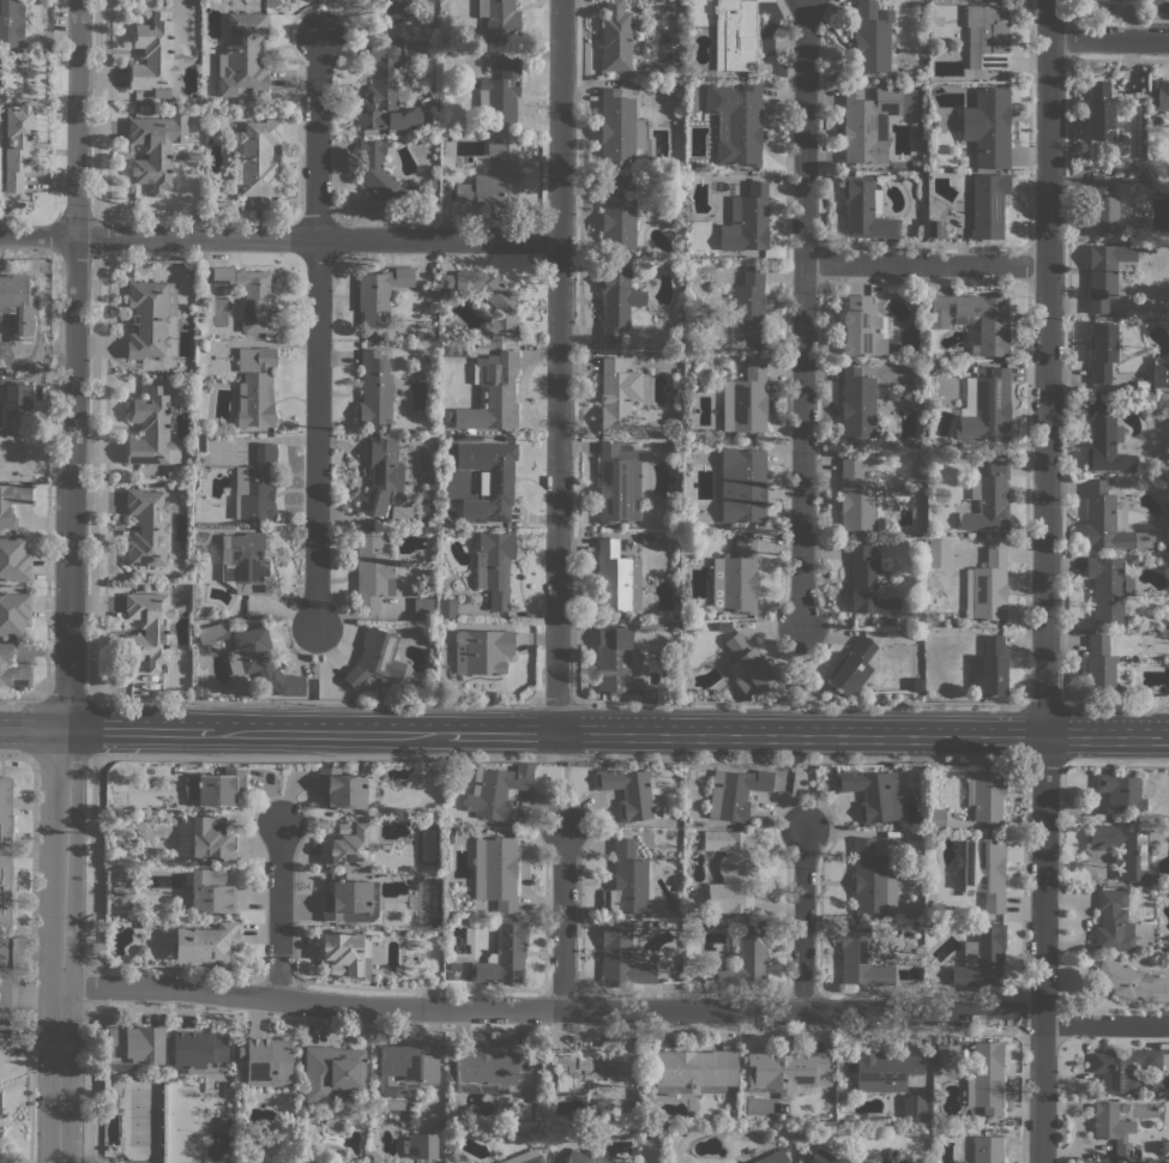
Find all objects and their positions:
building: (1131, 0)
building: (397, 8)
building: (499, 19)
building: (11, 22)
building: (615, 36)
building: (735, 36)
building: (987, 36)
road: (1109, 38)
building: (879, 42)
building: (242, 55)
building: (153, 56)
building: (25, 60)
building: (385, 91)
building: (500, 94)
building: (1161, 95)
road: (95, 107)
road: (106, 109)
building: (1098, 113)
building: (736, 122)
building: (868, 123)
building: (988, 126)
building: (619, 127)
road: (803, 131)
road: (315, 135)
building: (17, 145)
building: (156, 149)
building: (259, 157)
building: (432, 170)
building: (385, 175)
building: (493, 177)
building: (628, 183)
building: (987, 205)
building: (1102, 206)
building: (866, 210)
building: (617, 216)
building: (746, 219)
building: (1140, 228)
road: (279, 235)
road: (95, 236)
road: (924, 263)
building: (699, 270)
building: (1105, 272)
building: (14, 289)
building: (247, 294)
building: (380, 294)
building: (492, 299)
building: (616, 300)
building: (748, 308)
building: (152, 319)
building: (992, 320)
building: (864, 327)
building: (370, 342)
building: (496, 344)
building: (1101, 350)
building: (1159, 358)
road: (559, 368)
road: (1046, 368)
building: (1161, 375)
building: (255, 386)
building: (375, 390)
building: (492, 393)
building: (617, 394)
building: (18, 397)
building: (746, 399)
building: (857, 404)
building: (984, 406)
building: (150, 429)
road: (315, 430)
building: (508, 438)
building: (1104, 440)
road: (801, 444)
building: (670, 447)
building: (381, 476)
road: (92, 477)
road: (104, 478)
building: (492, 482)
building: (619, 483)
building: (255, 484)
building: (742, 484)
building: (858, 499)
building: (988, 499)
building: (12, 501)
building: (1108, 520)
building: (146, 528)
building: (939, 553)
building: (14, 560)
building: (245, 562)
building: (494, 566)
building: (372, 573)
building: (616, 578)
building: (735, 579)
road: (68, 580)
building: (869, 583)
building: (987, 586)
building: (1107, 587)
building: (424, 602)
building: (446, 608)
building: (14, 613)
building: (655, 625)
building: (149, 627)
building: (212, 632)
building: (481, 650)
building: (375, 657)
building: (260, 662)
building: (615, 662)
road: (314, 663)
road: (800, 663)
building: (747, 665)
building: (1098, 665)
building: (852, 667)
building: (11, 668)
building: (989, 668)
building: (917, 685)
building: (198, 689)
road: (23, 694)
road: (67, 697)
road: (313, 699)
road: (555, 700)
road: (797, 700)
road: (1043, 704)
road: (1117, 704)
road: (223, 731)
road: (501, 735)
road: (862, 736)
road: (16, 757)
road: (61, 758)
road: (558, 758)
road: (1042, 760)
road: (1115, 761)
building: (215, 788)
building: (341, 789)
road: (562, 789)
building: (496, 790)
road: (802, 791)
building: (1119, 791)
building: (631, 793)
building: (735, 793)
building: (872, 794)
building: (988, 799)
building: (935, 818)
building: (210, 838)
building: (348, 844)
building: (5, 846)
building: (1126, 849)
road: (92, 866)
building: (731, 870)
building: (984, 870)
building: (495, 872)
building: (873, 878)
building: (628, 881)
building: (207, 892)
building: (351, 900)
road: (279, 911)
road: (565, 916)
road: (802, 918)
building: (1113, 922)
building: (206, 942)
road: (1042, 950)
building: (344, 953)
building: (504, 954)
building: (622, 956)
building: (742, 956)
building: (860, 957)
building: (981, 958)
road: (30, 959)
building: (454, 966)
building: (448, 975)
building: (1131, 982)
road: (90, 988)
road: (0, 995)
road: (29, 1001)
road: (550, 1011)
road: (1105, 1025)
building: (134, 1047)
building: (199, 1051)
building: (946, 1054)
building: (266, 1061)
building: (405, 1067)
building: (589, 1068)
building: (1125, 1068)
building: (488, 1069)
building: (785, 1069)
building: (884, 1069)
building: (332, 1071)
building: (692, 1071)
building: (986, 1078)
road: (90, 1083)
building: (914, 1105)
building: (536, 1111)
building: (1113, 1127)
building: (420, 1145)
building: (987, 1149)
building: (773, 1156)
building: (525, 1157)
building: (822, 1157)
building: (587, 1158)
building: (0, 1162)

